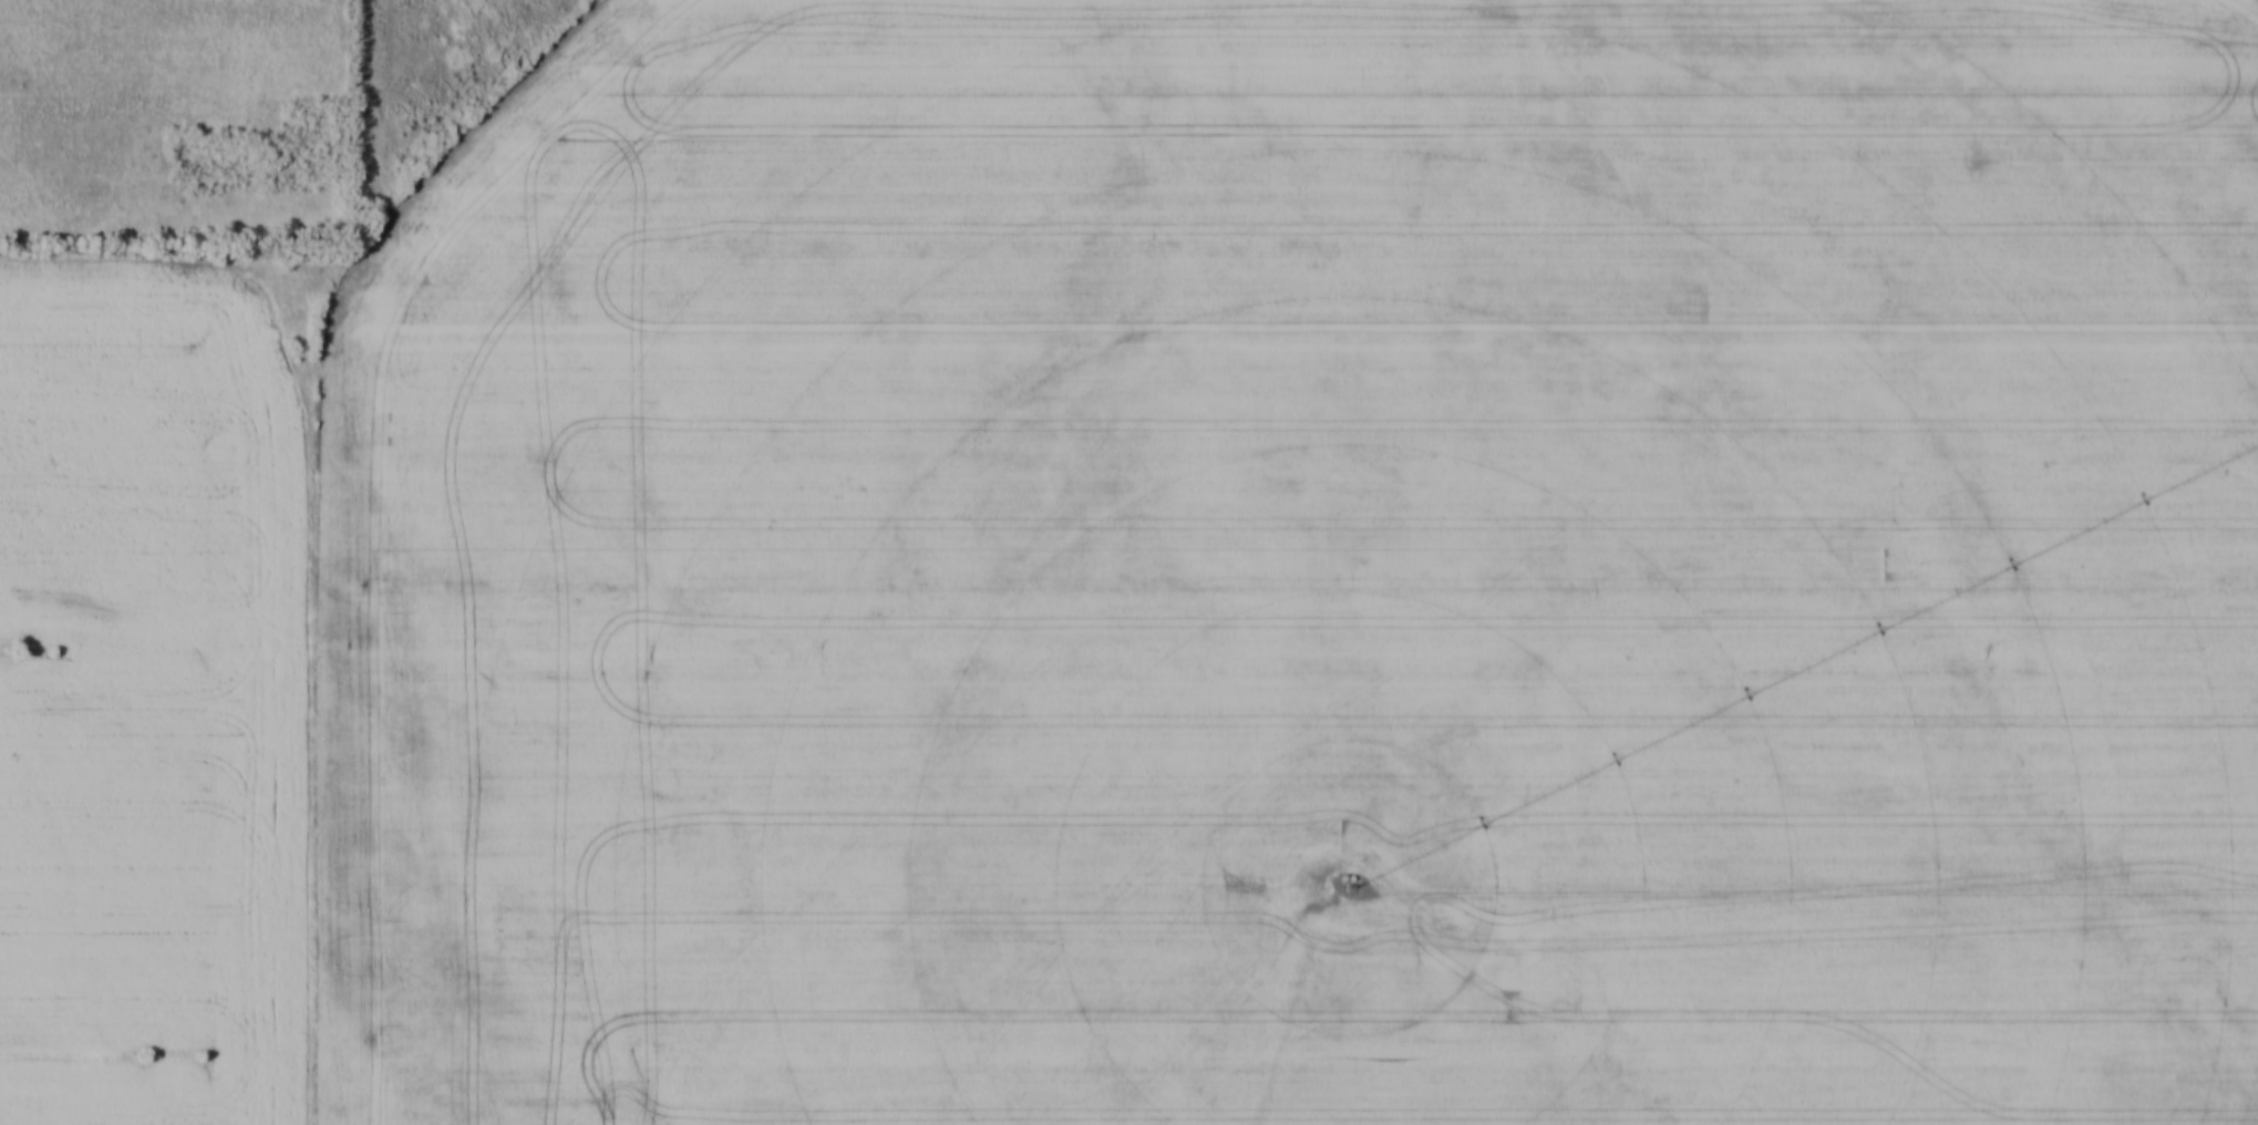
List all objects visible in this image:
crop: (1303, 570)

